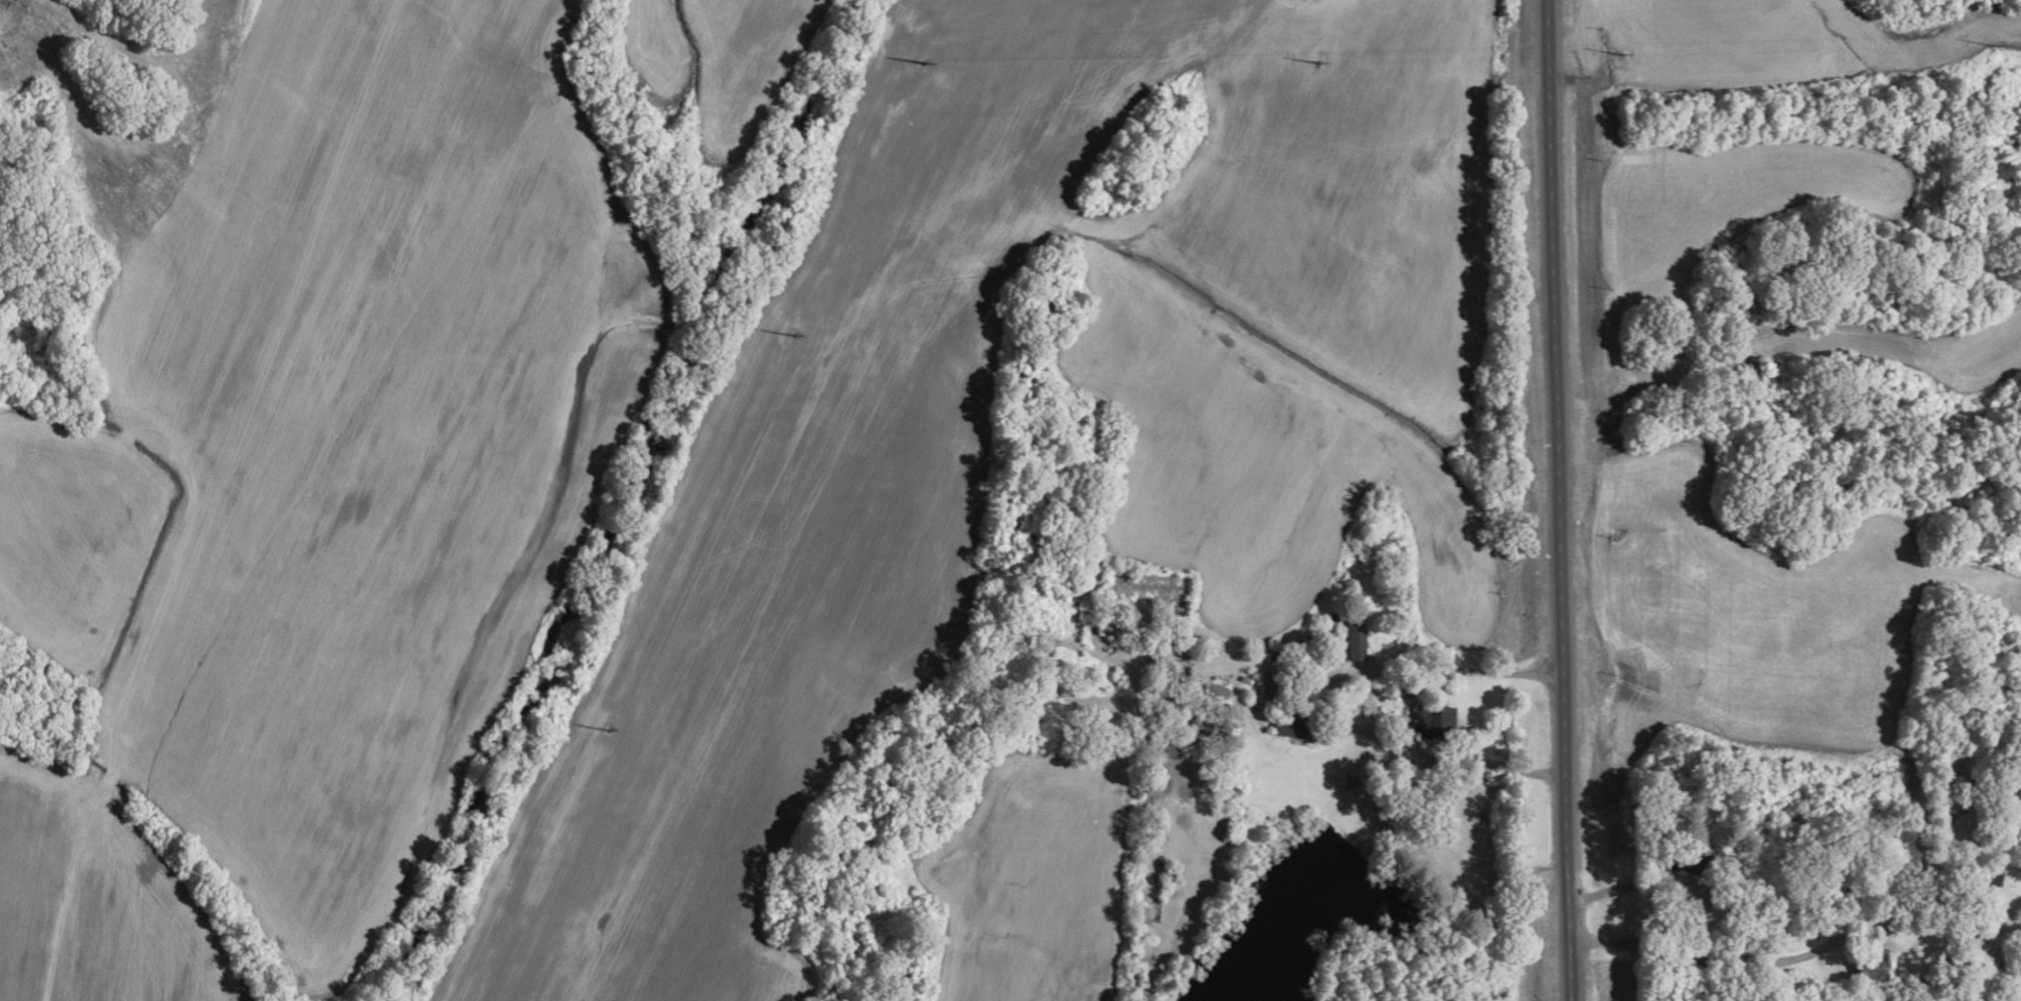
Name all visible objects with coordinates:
road: (1556, 500)
building: (1133, 626)
building: (1353, 641)
road: (1183, 651)
road: (1435, 670)
building: (1430, 722)
building: (1288, 728)
road: (1445, 755)
road: (1272, 794)
road: (1121, 854)
building: (1696, 861)
building: (1988, 876)
road: (1615, 890)
road: (1773, 960)
building: (1868, 967)
building: (1947, 975)

